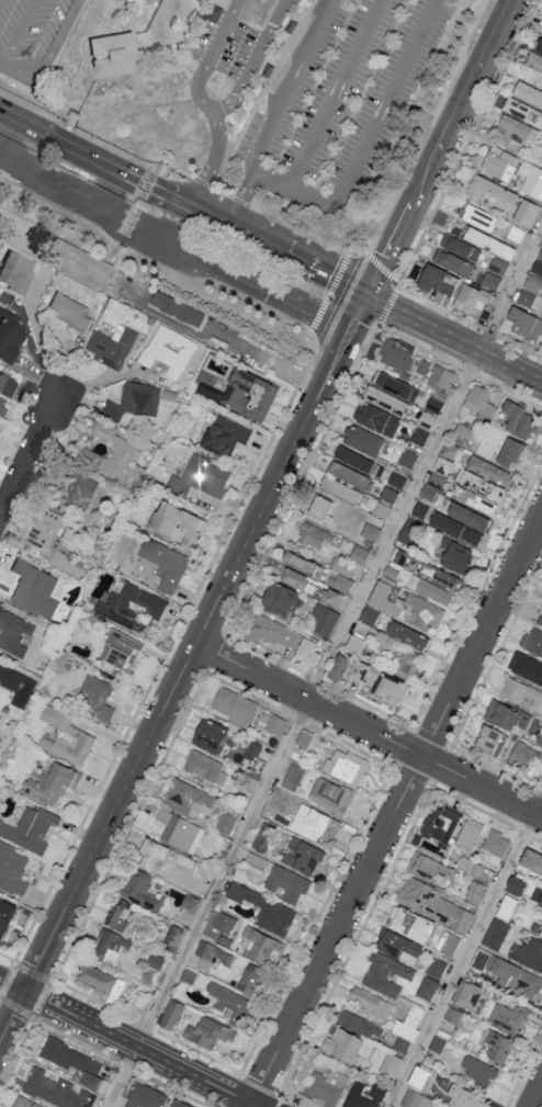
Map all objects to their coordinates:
road: (18, 33)
parking lot: (222, 41)
building: (539, 44)
road: (46, 57)
building: (113, 57)
building: (533, 59)
road: (479, 76)
road: (286, 87)
parking lot: (329, 89)
building: (528, 91)
road: (331, 95)
road: (216, 109)
building: (522, 110)
building: (72, 117)
road: (371, 127)
building: (513, 128)
road: (9, 138)
road: (74, 146)
airport: (219, 153)
road: (211, 160)
building: (499, 161)
building: (160, 169)
road: (428, 180)
road: (49, 183)
road: (268, 183)
road: (108, 188)
building: (488, 189)
road: (239, 200)
road: (187, 204)
building: (140, 205)
building: (526, 212)
building: (478, 216)
road: (134, 224)
road: (180, 224)
building: (479, 237)
building: (460, 246)
building: (120, 251)
building: (540, 251)
road: (392, 252)
road: (298, 261)
building: (452, 261)
building: (537, 266)
building: (14, 272)
building: (433, 279)
building: (490, 279)
building: (533, 282)
road: (261, 287)
building: (468, 296)
building: (524, 296)
traffic signals: (370, 297)
building: (176, 307)
building: (68, 309)
building: (541, 313)
road: (361, 315)
building: (526, 324)
road: (38, 332)
building: (9, 335)
road: (455, 339)
building: (110, 346)
building: (168, 349)
building: (395, 354)
building: (1, 375)
building: (442, 377)
building: (394, 385)
building: (248, 393)
building: (385, 399)
building: (133, 400)
building: (479, 400)
building: (1, 403)
building: (518, 417)
building: (375, 418)
building: (427, 418)
building: (463, 433)
building: (224, 434)
building: (418, 434)
building: (361, 440)
building: (449, 449)
building: (508, 451)
road: (29, 453)
building: (112, 453)
building: (407, 458)
building: (352, 459)
building: (441, 464)
building: (489, 470)
building: (349, 475)
building: (200, 477)
building: (396, 478)
building: (432, 485)
building: (479, 485)
building: (71, 486)
road: (274, 488)
building: (339, 488)
building: (388, 494)
building: (481, 502)
building: (320, 507)
building: (467, 516)
building: (176, 522)
building: (454, 527)
building: (369, 530)
building: (313, 535)
building: (451, 552)
building: (358, 553)
building: (297, 562)
building: (65, 563)
building: (163, 563)
building: (291, 576)
building: (443, 577)
building: (338, 581)
building: (33, 588)
building: (429, 589)
building: (382, 598)
building: (280, 599)
building: (129, 606)
building: (424, 611)
building: (540, 619)
building: (321, 620)
building: (273, 631)
building: (13, 632)
building: (406, 634)
building: (532, 640)
building: (354, 644)
building: (117, 649)
building: (306, 651)
building: (406, 663)
building: (526, 666)
building: (338, 667)
road: (325, 668)
building: (379, 682)
building: (16, 685)
building: (520, 692)
building: (97, 698)
building: (234, 705)
building: (506, 715)
building: (275, 724)
road: (370, 730)
building: (208, 734)
building: (65, 736)
building: (539, 736)
building: (304, 737)
building: (492, 741)
building: (522, 754)
building: (349, 765)
building: (205, 767)
building: (292, 776)
building: (50, 782)
building: (329, 794)
building: (187, 795)
building: (284, 800)
road: (396, 812)
road: (111, 816)
building: (224, 823)
building: (320, 824)
building: (439, 825)
building: (31, 828)
building: (179, 831)
building: (468, 833)
building: (495, 845)
building: (160, 856)
building: (301, 856)
building: (531, 860)
building: (12, 869)
building: (430, 869)
building: (172, 874)
building: (286, 883)
building: (515, 884)
building: (140, 890)
building: (474, 891)
building: (540, 902)
building: (431, 903)
building: (507, 907)
building: (263, 908)
building: (117, 913)
building: (5, 916)
building: (221, 920)
building: (408, 924)
building: (541, 933)
building: (495, 934)
building: (172, 935)
building: (224, 939)
building: (449, 942)
building: (110, 945)
building: (261, 945)
building: (399, 946)
building: (212, 951)
road: (465, 952)
building: (528, 953)
building: (385, 973)
building: (95, 978)
building: (516, 978)
building: (249, 979)
road: (12, 983)
building: (426, 987)
building: (227, 999)
building: (369, 1002)
road: (12, 1014)
building: (170, 1014)
building: (506, 1015)
building: (359, 1024)
building: (406, 1028)
building: (207, 1032)
building: (345, 1044)
building: (498, 1047)
road: (142, 1048)
building: (76, 1062)
building: (389, 1063)
building: (478, 1070)
building: (326, 1085)
building: (55, 1089)
building: (363, 1095)
building: (143, 1096)
building: (463, 1097)
building: (414, 1099)
road: (538, 1099)
building: (178, 1104)

